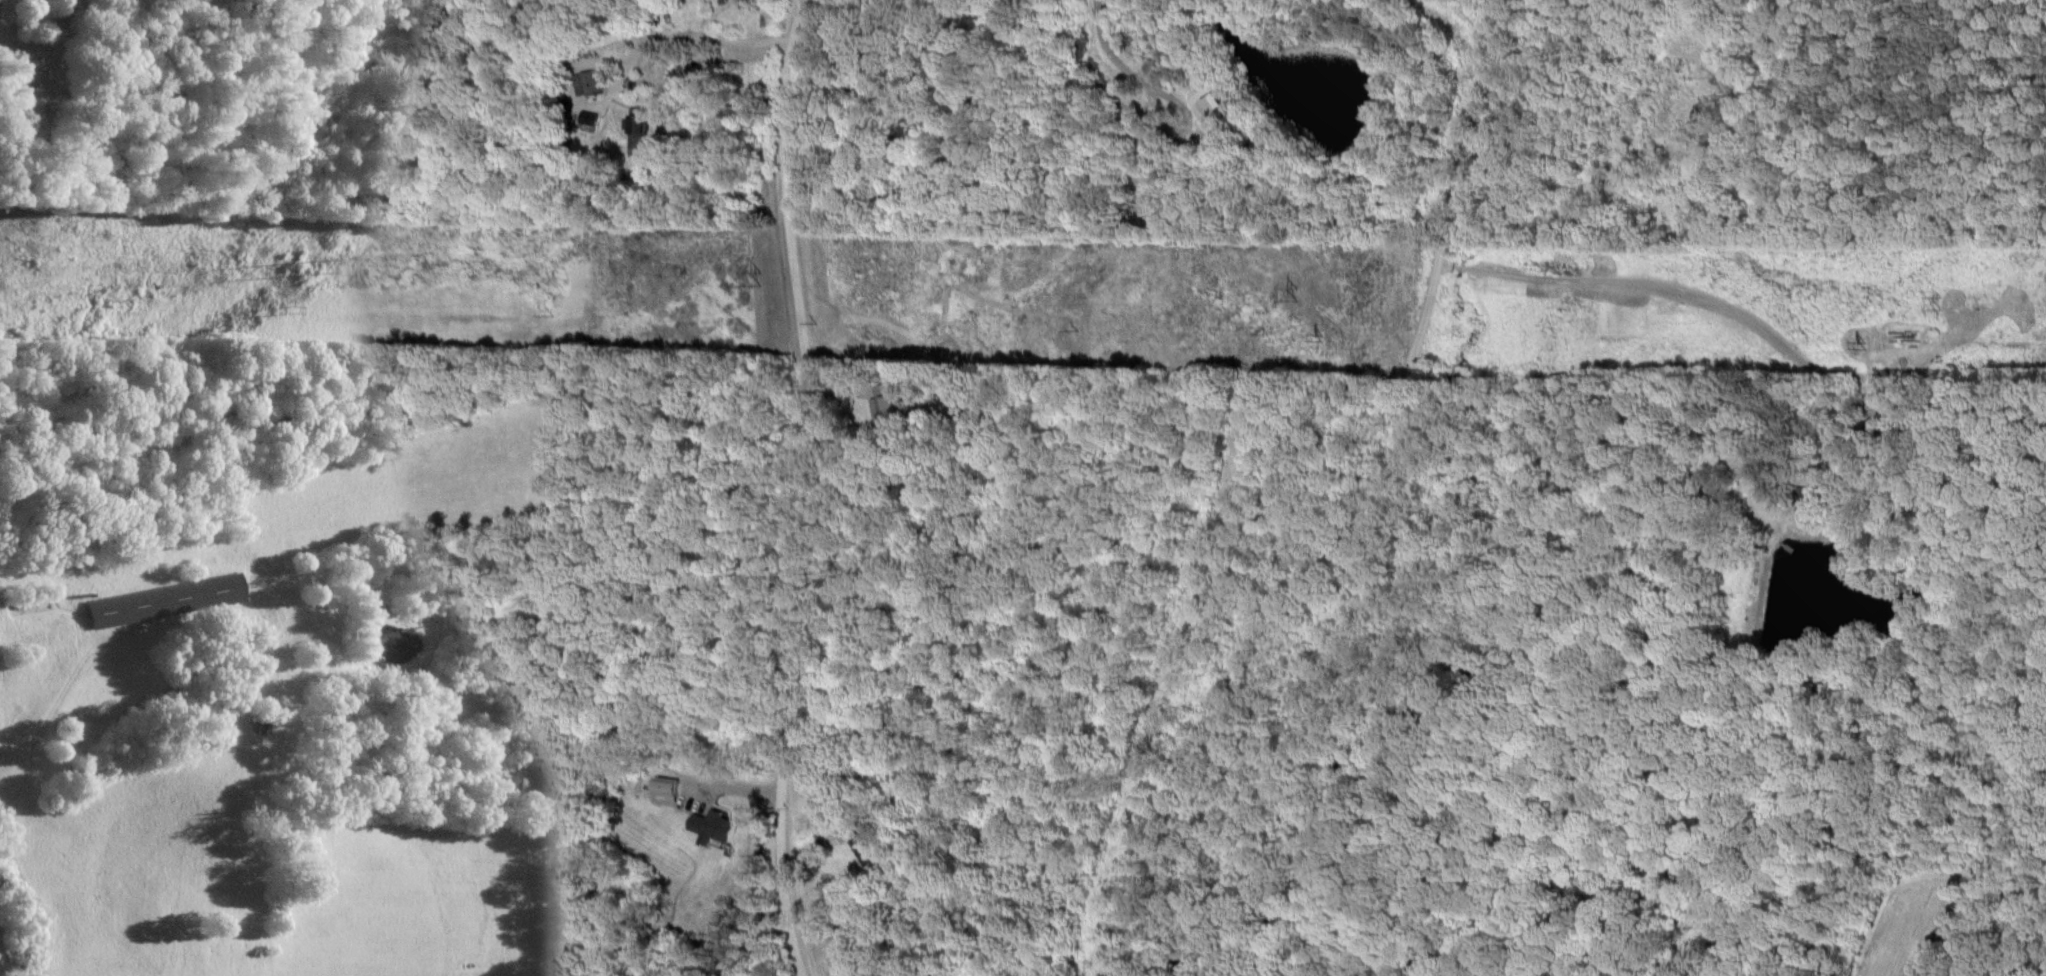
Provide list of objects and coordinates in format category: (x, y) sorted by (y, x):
road: (1461, 11)
road: (1494, 16)
road: (682, 38)
road: (16, 43)
road: (1792, 59)
road: (1125, 71)
building: (586, 83)
building: (27, 96)
building: (635, 134)
power tower: (321, 262)
power tower: (768, 276)
power tower: (1297, 294)
road: (1699, 299)
power tower: (1947, 301)
power tower: (296, 307)
power tower: (563, 313)
power tower: (825, 321)
power tower: (1328, 339)
power tower: (1872, 342)
building: (889, 403)
road: (810, 487)
road: (1347, 517)
building: (163, 600)
building: (710, 828)
building: (867, 849)

